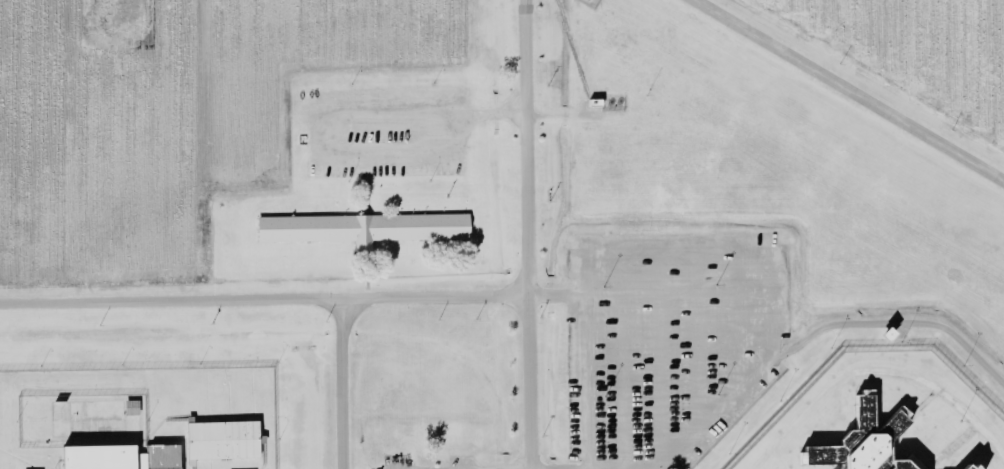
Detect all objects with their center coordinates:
crop: (921, 49)
road: (848, 90)
crop: (170, 117)
road: (349, 121)
building: (364, 225)
road: (526, 234)
road: (624, 249)
road: (648, 291)
road: (263, 298)
road: (740, 317)
road: (696, 338)
road: (659, 355)
road: (621, 357)
road: (764, 363)
road: (344, 383)
building: (131, 405)
building: (863, 407)
building: (222, 438)
building: (858, 445)
building: (98, 455)
building: (164, 455)
road: (515, 468)

